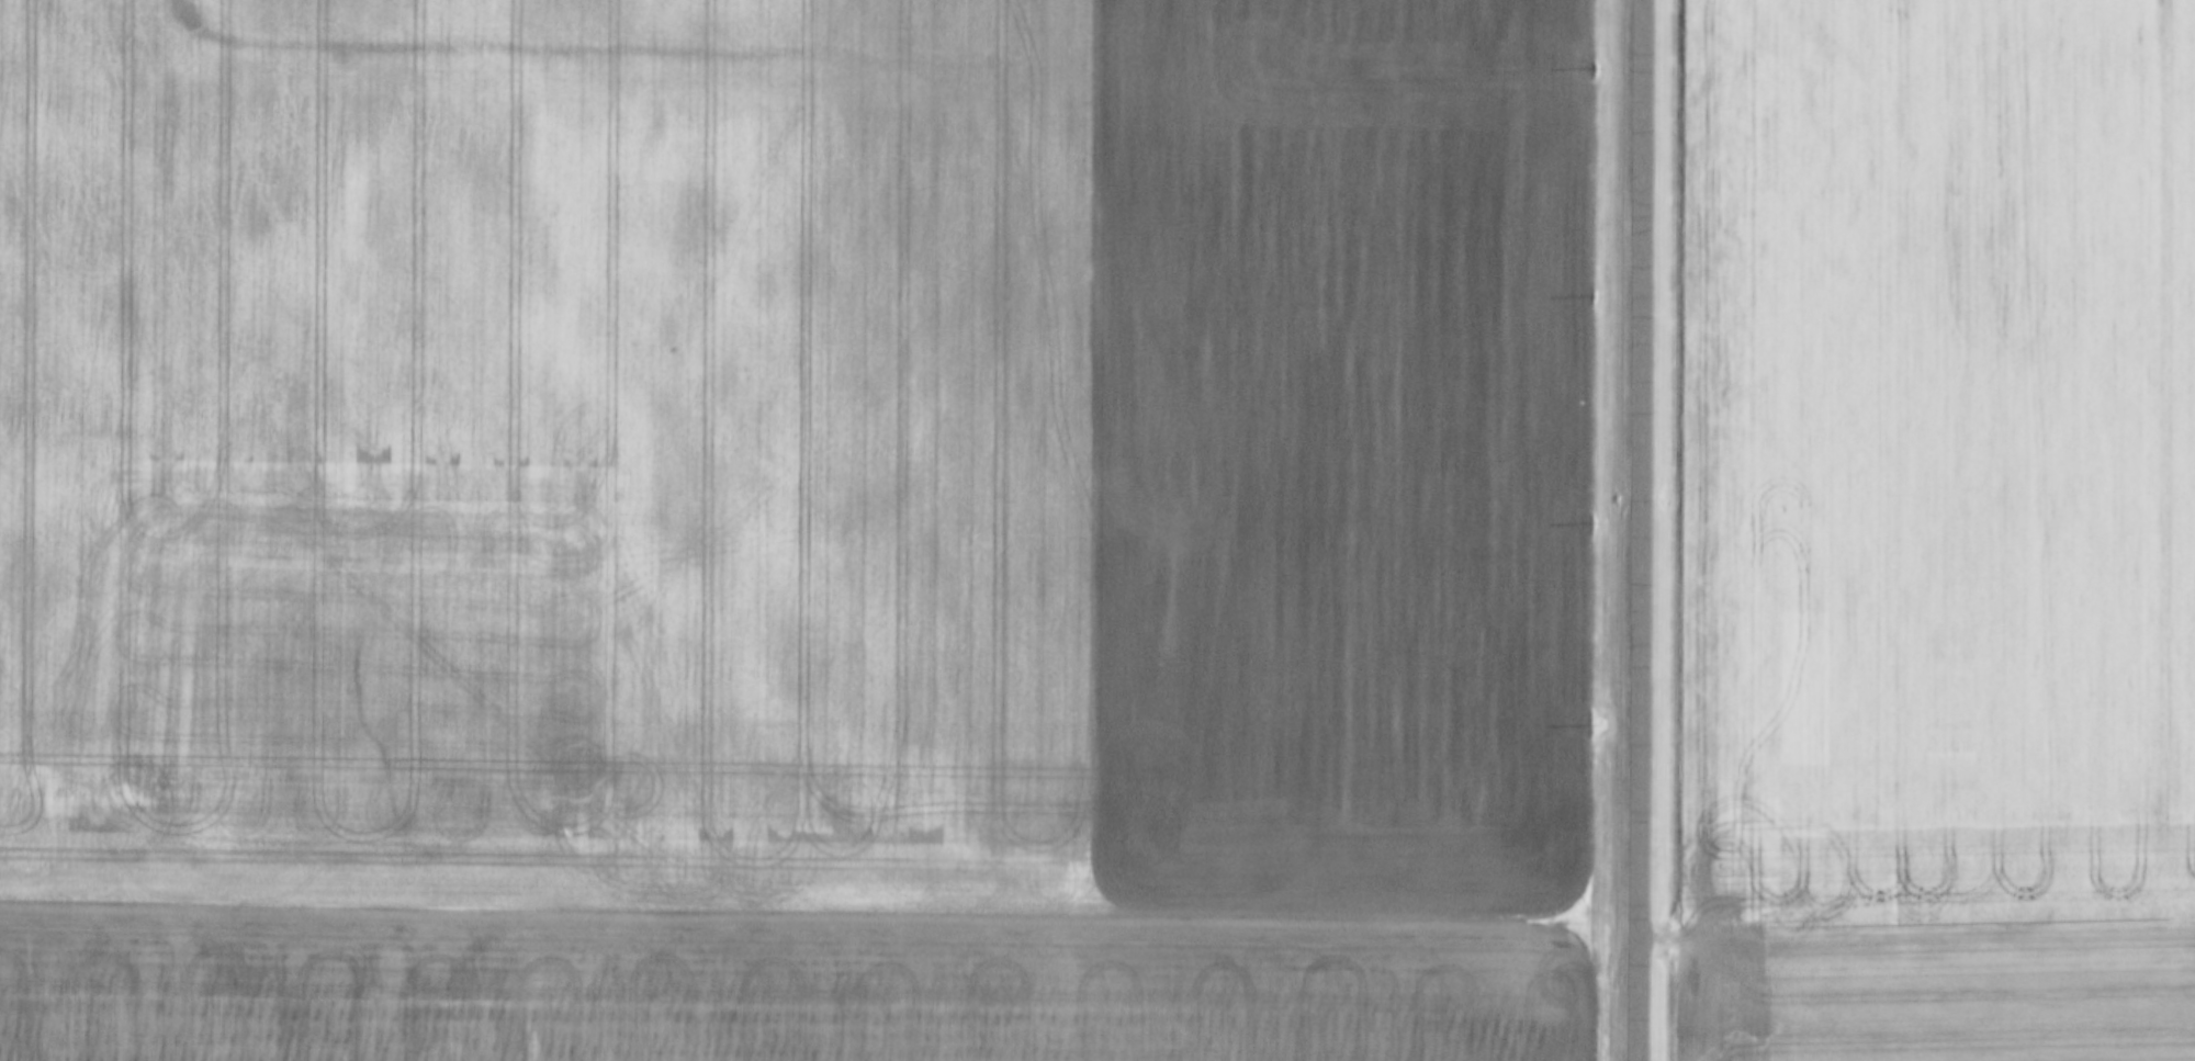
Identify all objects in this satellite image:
road: (1644, 530)

